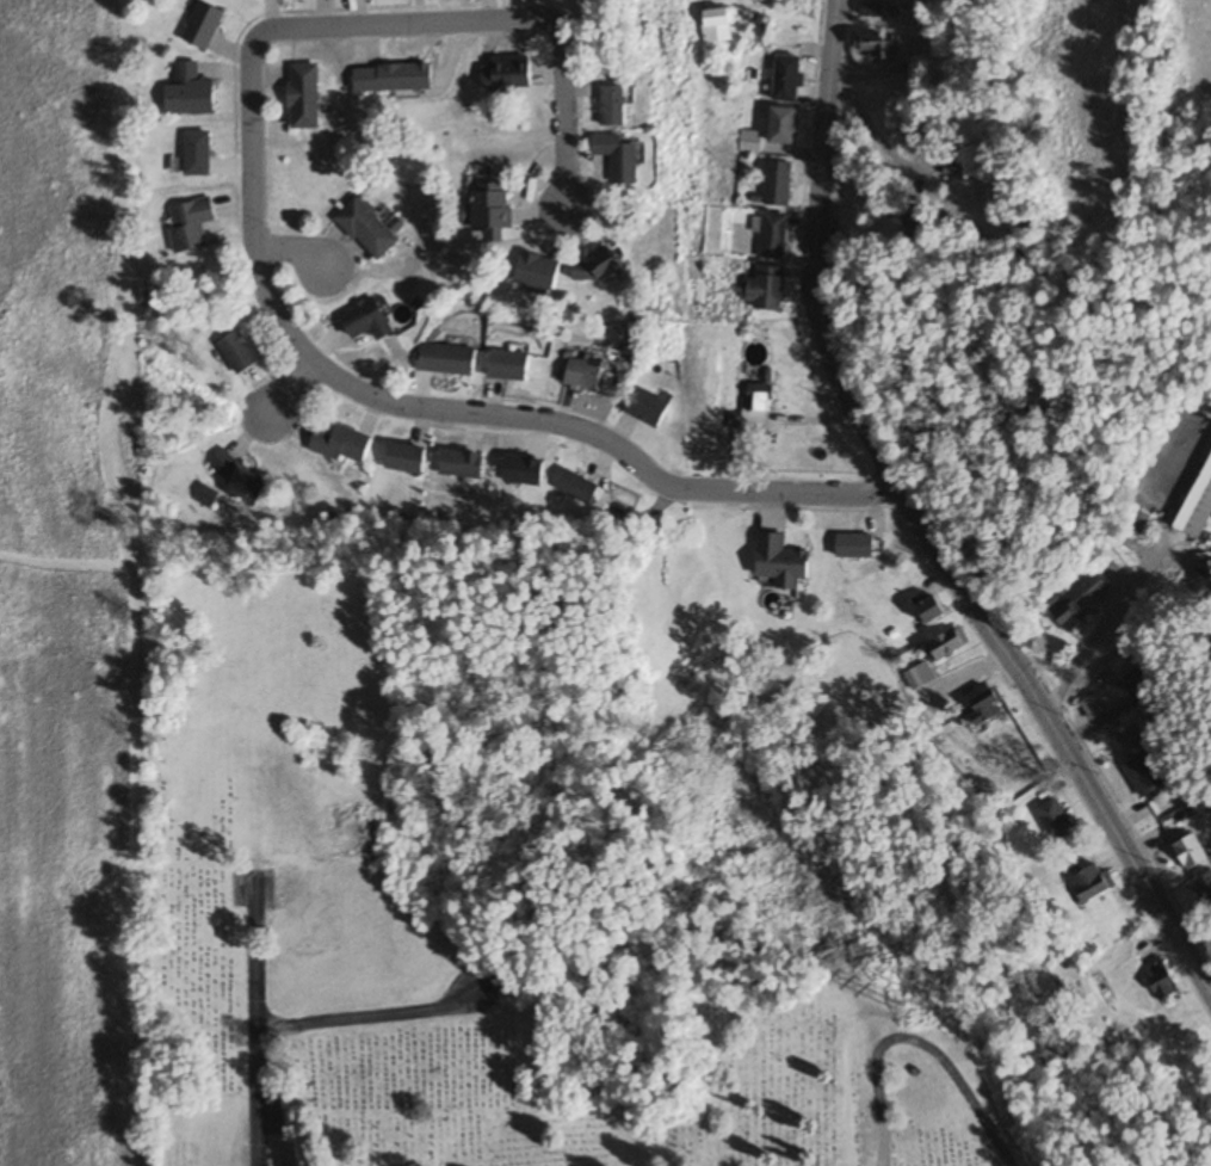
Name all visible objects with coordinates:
building: (871, 11)
building: (204, 25)
building: (718, 26)
building: (876, 47)
building: (507, 73)
building: (394, 79)
building: (787, 79)
building: (191, 93)
building: (307, 97)
building: (614, 107)
building: (783, 127)
building: (749, 142)
building: (198, 155)
building: (622, 159)
building: (777, 183)
building: (489, 208)
building: (191, 226)
building: (917, 227)
building: (367, 230)
building: (773, 236)
road: (290, 248)
road: (254, 265)
building: (599, 270)
building: (539, 273)
building: (766, 289)
building: (370, 322)
power tower: (686, 325)
building: (239, 353)
building: (447, 360)
building: (509, 366)
building: (585, 375)
road: (291, 388)
building: (648, 408)
building: (752, 412)
building: (344, 444)
building: (406, 457)
building: (462, 463)
building: (239, 479)
building: (580, 487)
building: (205, 494)
building: (1198, 507)
building: (618, 508)
building: (1139, 520)
road: (922, 524)
building: (855, 545)
building: (783, 561)
building: (1076, 601)
building: (931, 607)
building: (950, 642)
road: (1088, 644)
building: (919, 675)
building: (1093, 705)
building: (988, 707)
building: (1137, 727)
power tower: (698, 741)
building: (1143, 775)
building: (1054, 818)
building: (1191, 852)
building: (1090, 886)
building: (1204, 889)
building: (1162, 980)
power tower: (900, 1008)
road: (367, 1018)
park: (551, 1020)
road: (257, 1026)
road: (916, 1044)

